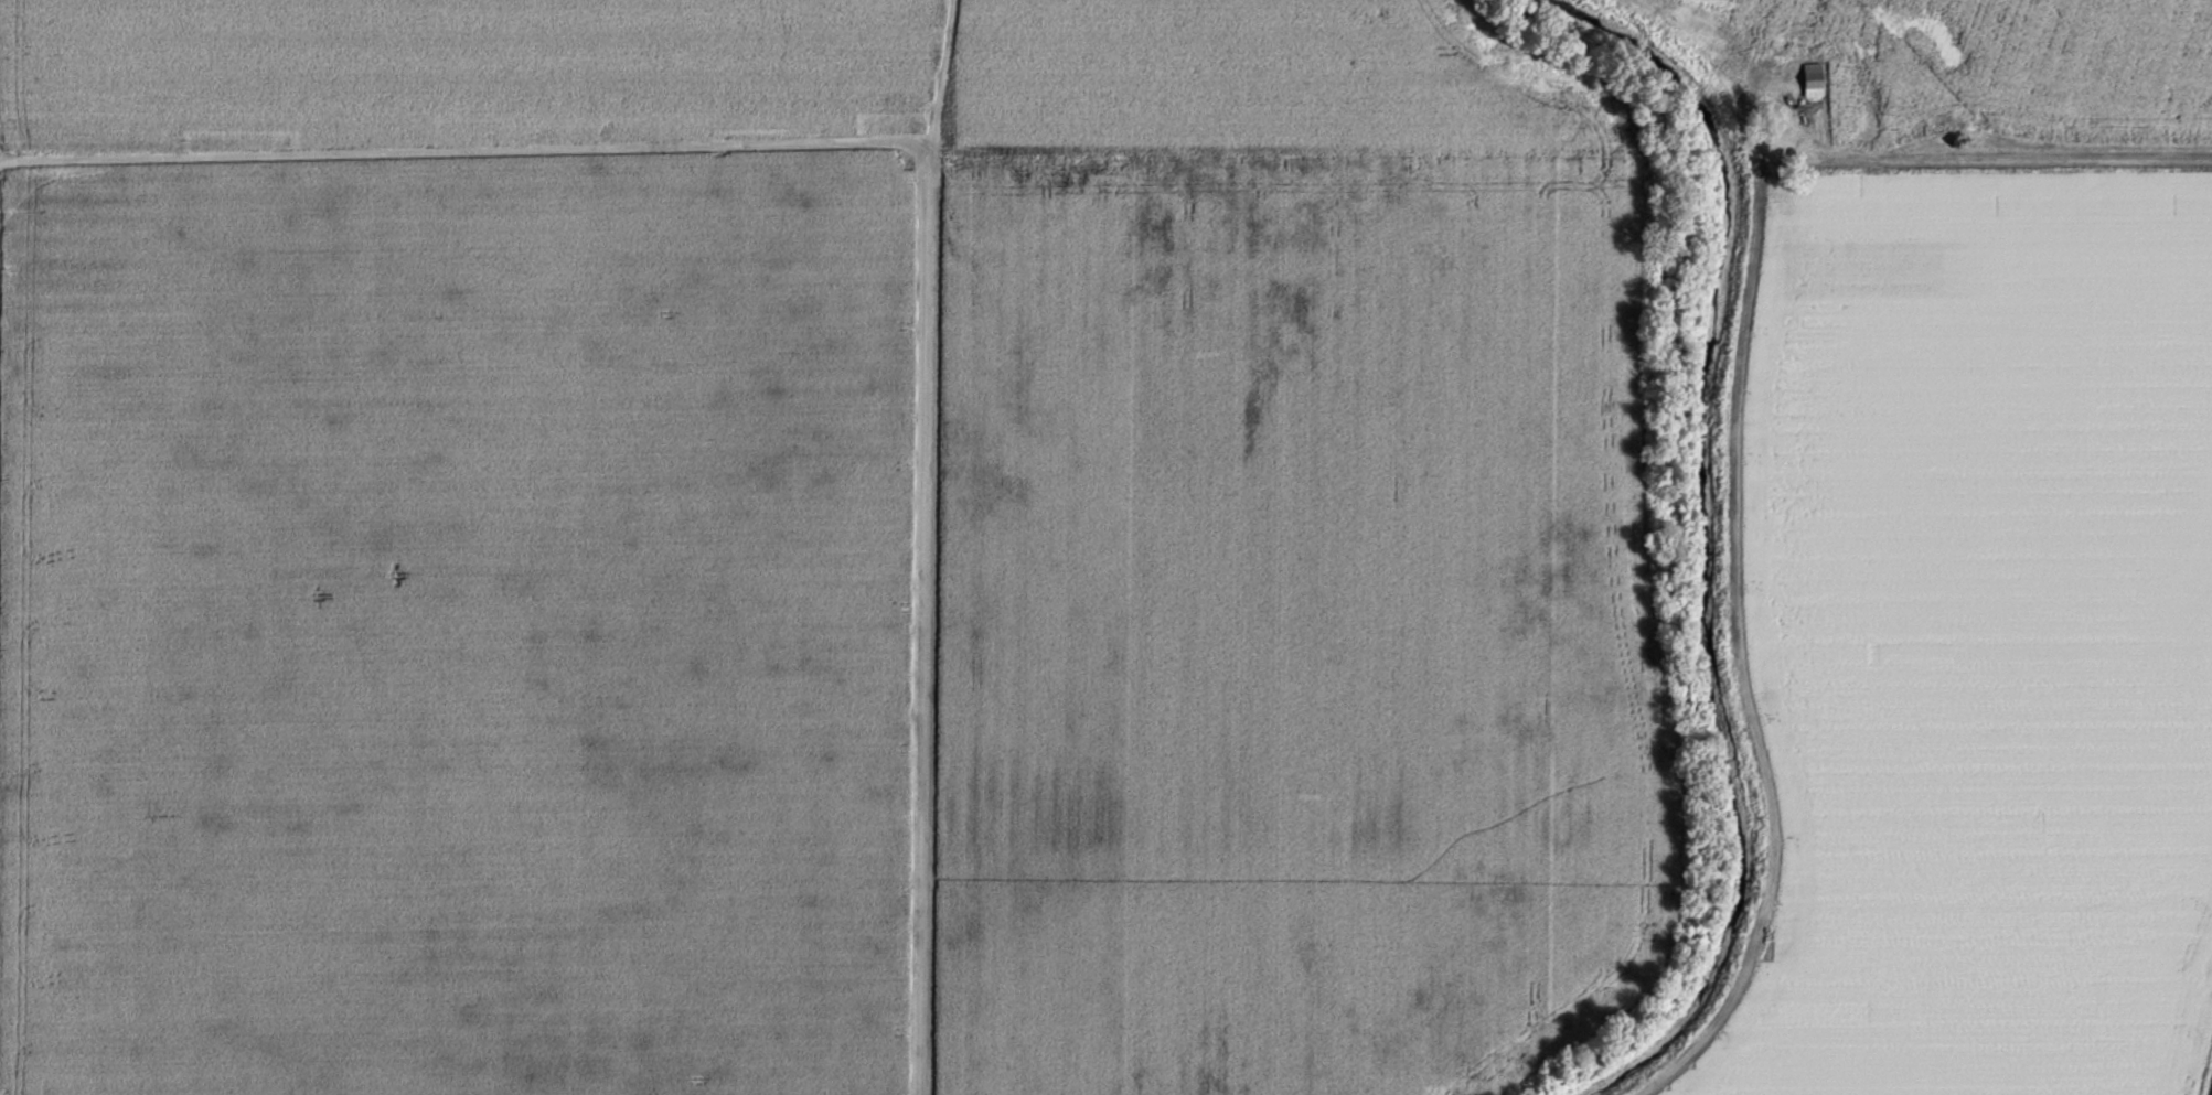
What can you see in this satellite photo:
road: (1498, 43)
road: (940, 76)
building: (1814, 78)
road: (463, 150)
road: (1991, 153)
road: (931, 622)

